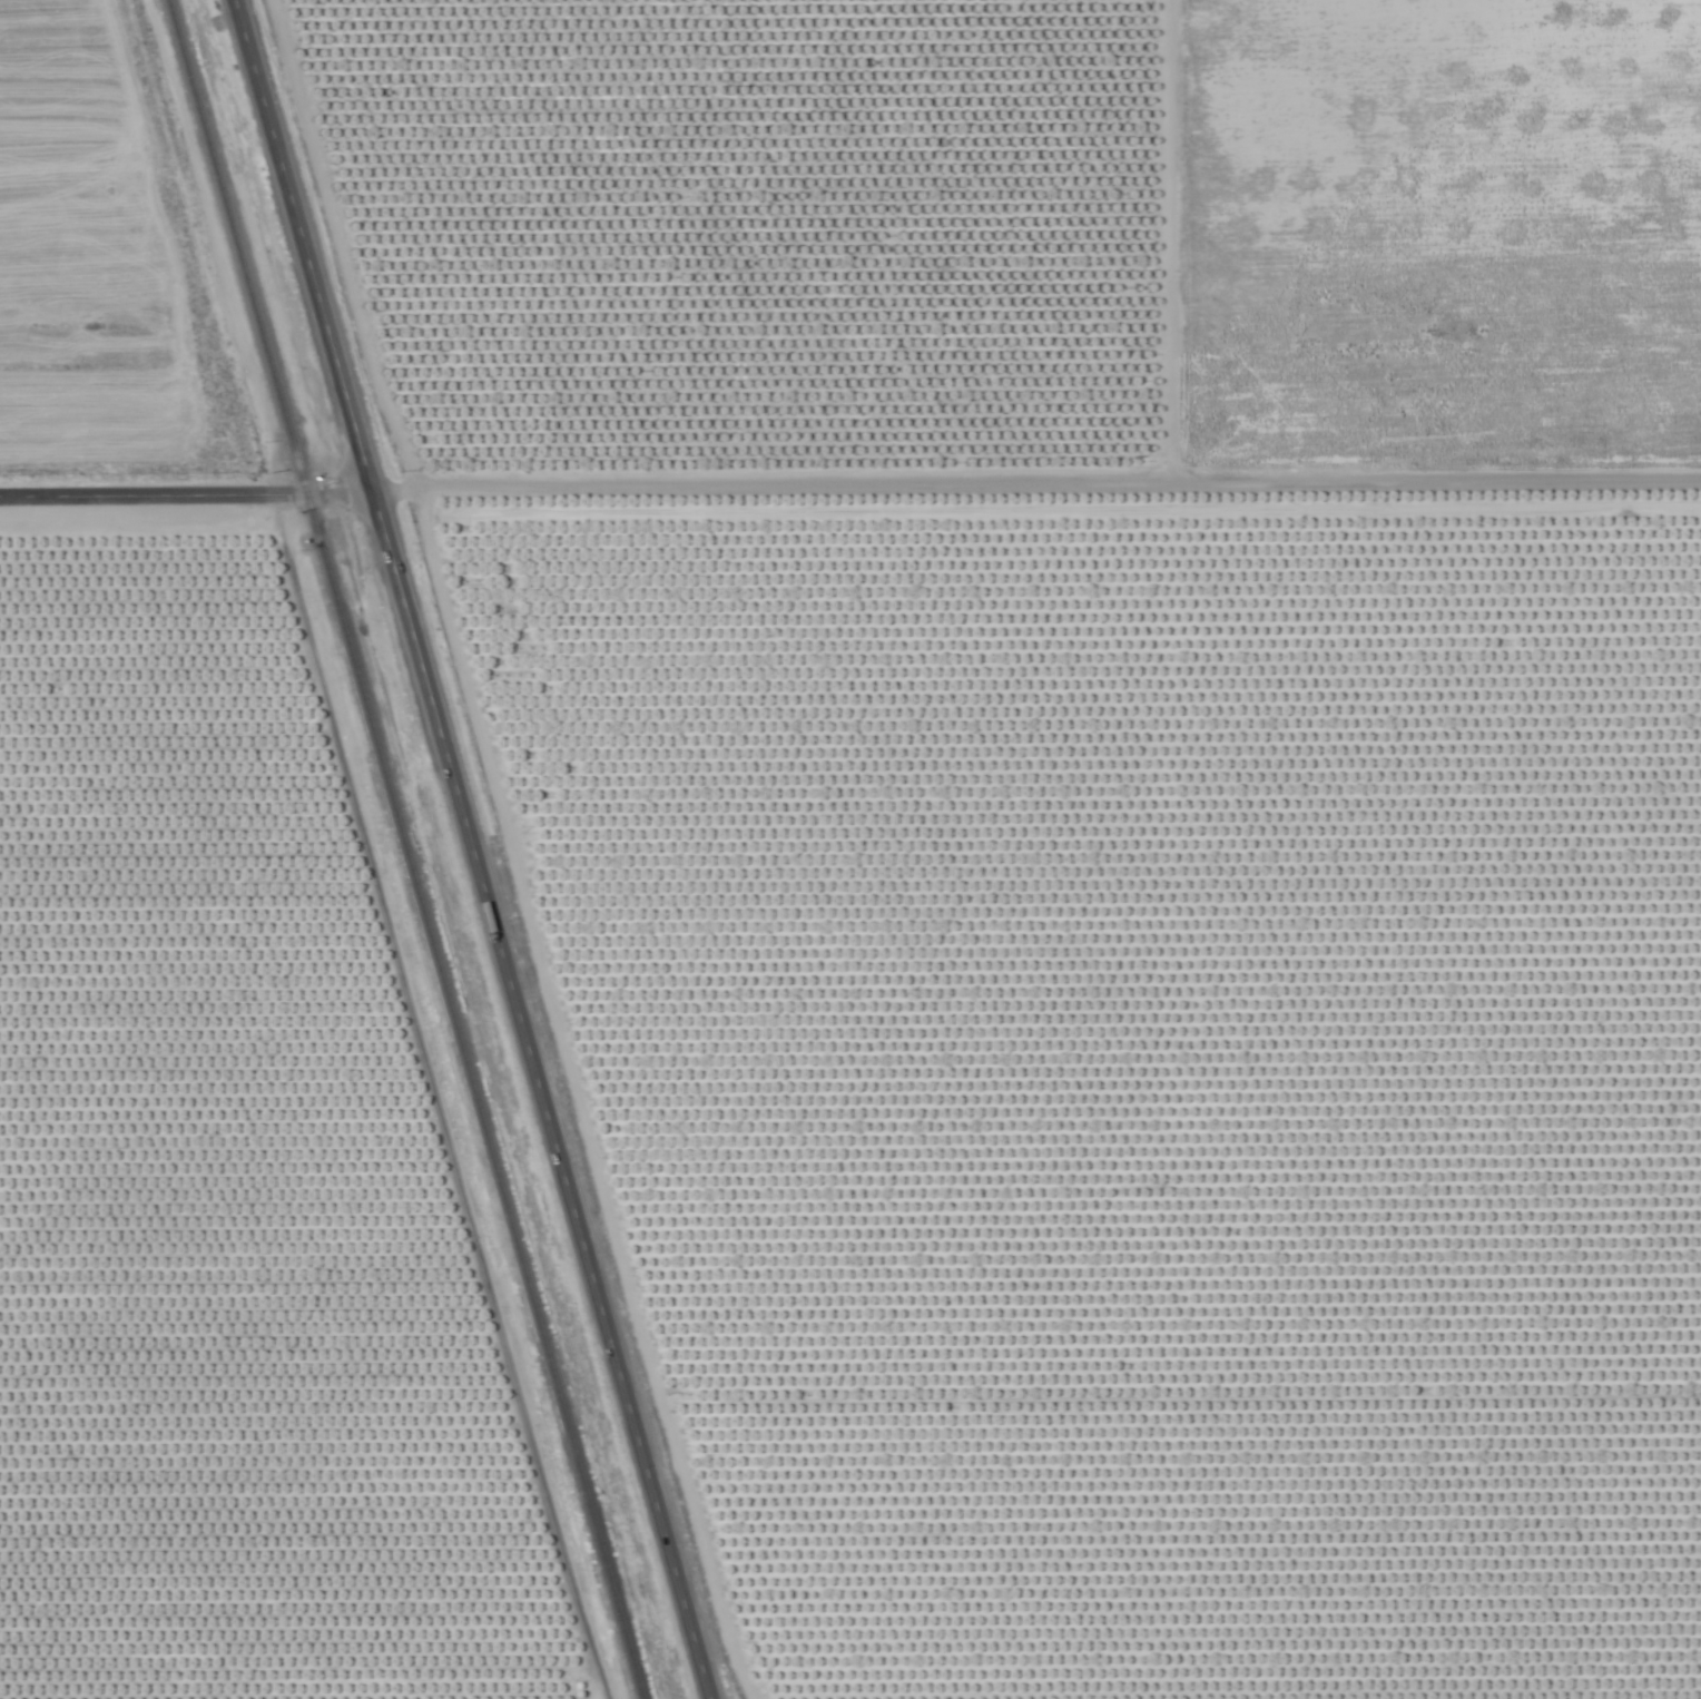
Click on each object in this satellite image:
road: (299, 245)
road: (1034, 491)
road: (184, 501)
wastewater plant: (514, 660)
railway: (401, 848)
crop: (836, 951)
road: (535, 1094)

